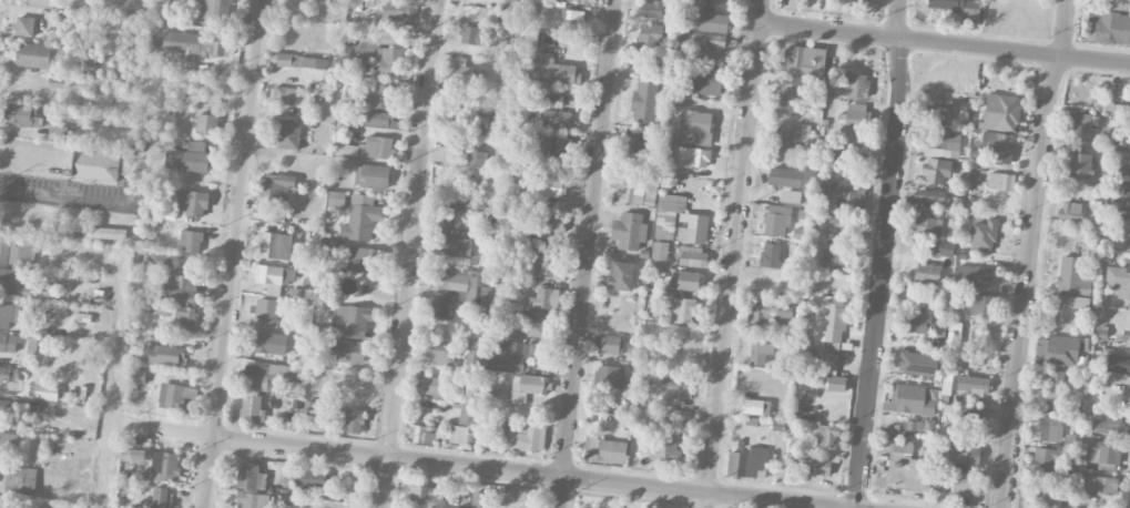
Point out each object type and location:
building: (861, 0)
building: (953, 4)
building: (1114, 4)
building: (651, 9)
building: (215, 10)
building: (396, 10)
road: (760, 11)
building: (571, 20)
building: (713, 22)
building: (24, 26)
building: (1111, 27)
building: (472, 34)
building: (651, 37)
building: (709, 39)
building: (192, 43)
road: (944, 43)
building: (33, 55)
building: (707, 58)
building: (804, 60)
building: (302, 61)
building: (387, 61)
building: (547, 67)
building: (466, 71)
building: (704, 81)
building: (856, 85)
building: (283, 95)
building: (790, 95)
building: (352, 96)
building: (380, 96)
building: (556, 98)
building: (644, 102)
building: (1119, 110)
building: (1000, 112)
building: (937, 113)
building: (23, 115)
building: (854, 115)
building: (376, 118)
building: (556, 120)
building: (206, 124)
building: (1081, 124)
building: (694, 128)
building: (794, 129)
building: (62, 132)
building: (287, 134)
building: (637, 142)
building: (943, 143)
building: (998, 146)
building: (369, 148)
building: (551, 150)
building: (469, 151)
building: (693, 158)
building: (189, 159)
building: (128, 164)
building: (1078, 164)
building: (95, 165)
building: (1126, 165)
building: (937, 170)
building: (371, 175)
building: (785, 176)
building: (1001, 181)
building: (277, 185)
building: (548, 186)
building: (629, 191)
building: (650, 193)
building: (1126, 193)
road: (64, 194)
building: (790, 196)
building: (849, 196)
building: (930, 196)
building: (336, 199)
building: (189, 201)
building: (1070, 210)
building: (668, 213)
building: (454, 215)
building: (360, 217)
building: (837, 217)
building: (540, 220)
building: (776, 220)
building: (928, 221)
building: (1124, 223)
building: (692, 227)
building: (629, 231)
building: (984, 235)
building: (191, 241)
building: (274, 245)
building: (456, 246)
building: (946, 248)
building: (660, 252)
road: (1029, 252)
road: (883, 253)
road: (232, 254)
road: (409, 254)
road: (587, 254)
building: (771, 255)
building: (841, 255)
building: (694, 256)
building: (363, 260)
building: (162, 261)
building: (546, 264)
road: (731, 264)
building: (927, 273)
building: (621, 275)
building: (979, 276)
building: (1071, 276)
building: (274, 277)
building: (685, 281)
building: (1119, 281)
building: (462, 284)
building: (42, 288)
building: (181, 288)
building: (540, 297)
building: (1073, 302)
building: (980, 304)
building: (264, 308)
building: (650, 308)
building: (438, 309)
building: (683, 311)
building: (9, 313)
building: (770, 313)
building: (185, 315)
building: (828, 318)
building: (352, 319)
building: (918, 319)
building: (536, 322)
building: (954, 334)
building: (266, 342)
building: (9, 343)
building: (609, 344)
building: (1056, 350)
building: (349, 352)
building: (632, 352)
building: (440, 353)
building: (475, 353)
building: (760, 353)
building: (165, 354)
building: (511, 355)
building: (917, 363)
building: (1118, 363)
building: (8, 374)
building: (263, 375)
building: (609, 376)
building: (136, 377)
building: (836, 384)
building: (428, 385)
building: (973, 385)
building: (528, 387)
building: (675, 388)
building: (1055, 388)
building: (45, 392)
building: (174, 396)
building: (912, 399)
building: (312, 407)
building: (755, 407)
building: (252, 408)
building: (466, 413)
building: (678, 417)
building: (967, 417)
building: (353, 420)
building: (1109, 426)
building: (1048, 428)
building: (420, 434)
building: (458, 434)
building: (826, 435)
building: (522, 436)
building: (11, 441)
building: (604, 450)
building: (666, 450)
building: (964, 450)
building: (1104, 451)
building: (133, 455)
road: (102, 456)
road: (403, 458)
building: (1045, 461)
building: (747, 463)
building: (163, 466)
building: (819, 466)
building: (909, 467)
building: (247, 475)
building: (20, 479)
building: (309, 480)
building: (954, 481)
building: (1098, 484)
building: (160, 497)
building: (424, 497)
building: (480, 499)
building: (254, 500)
building: (656, 506)

